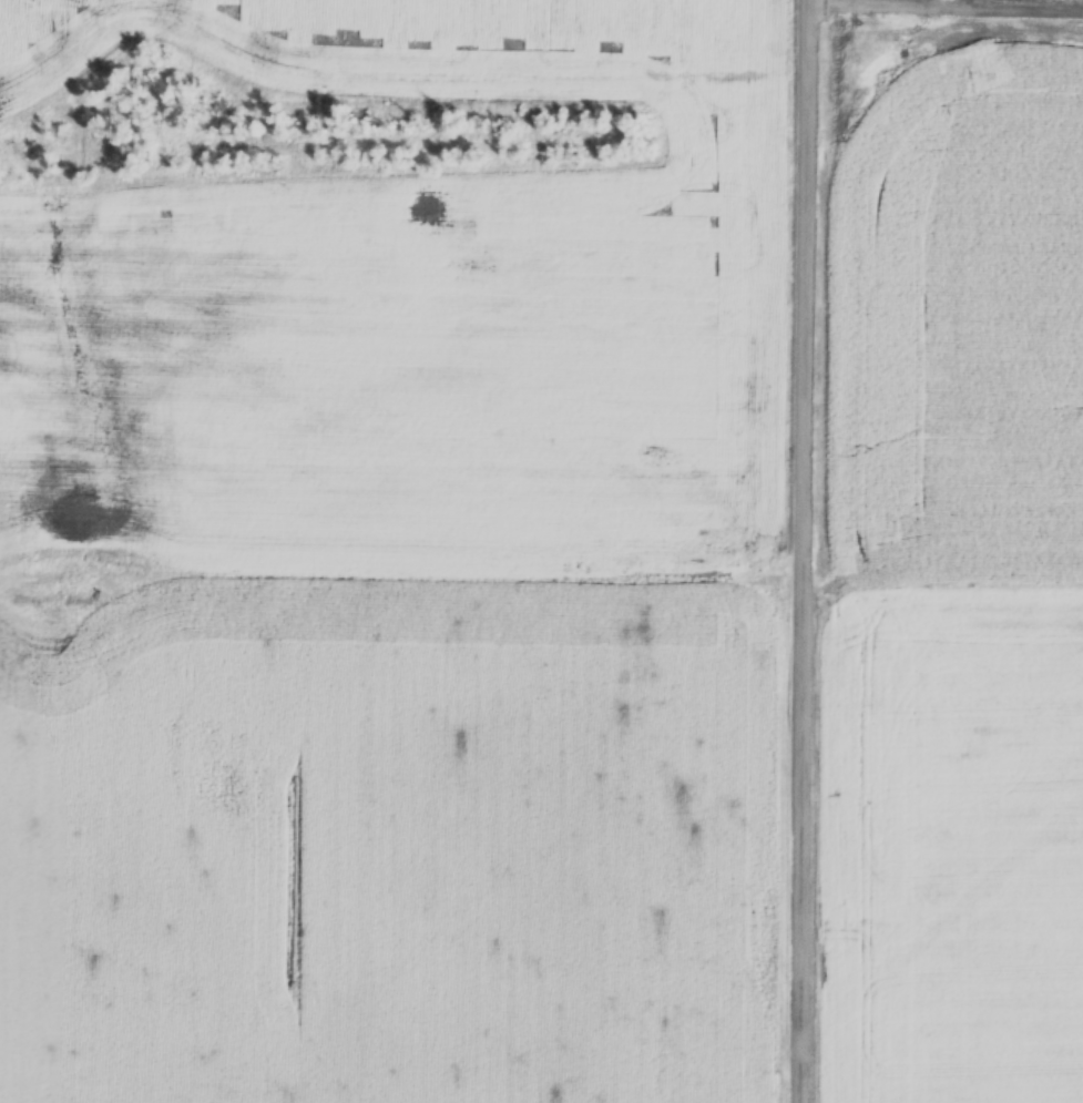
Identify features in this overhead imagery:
road: (810, 551)

